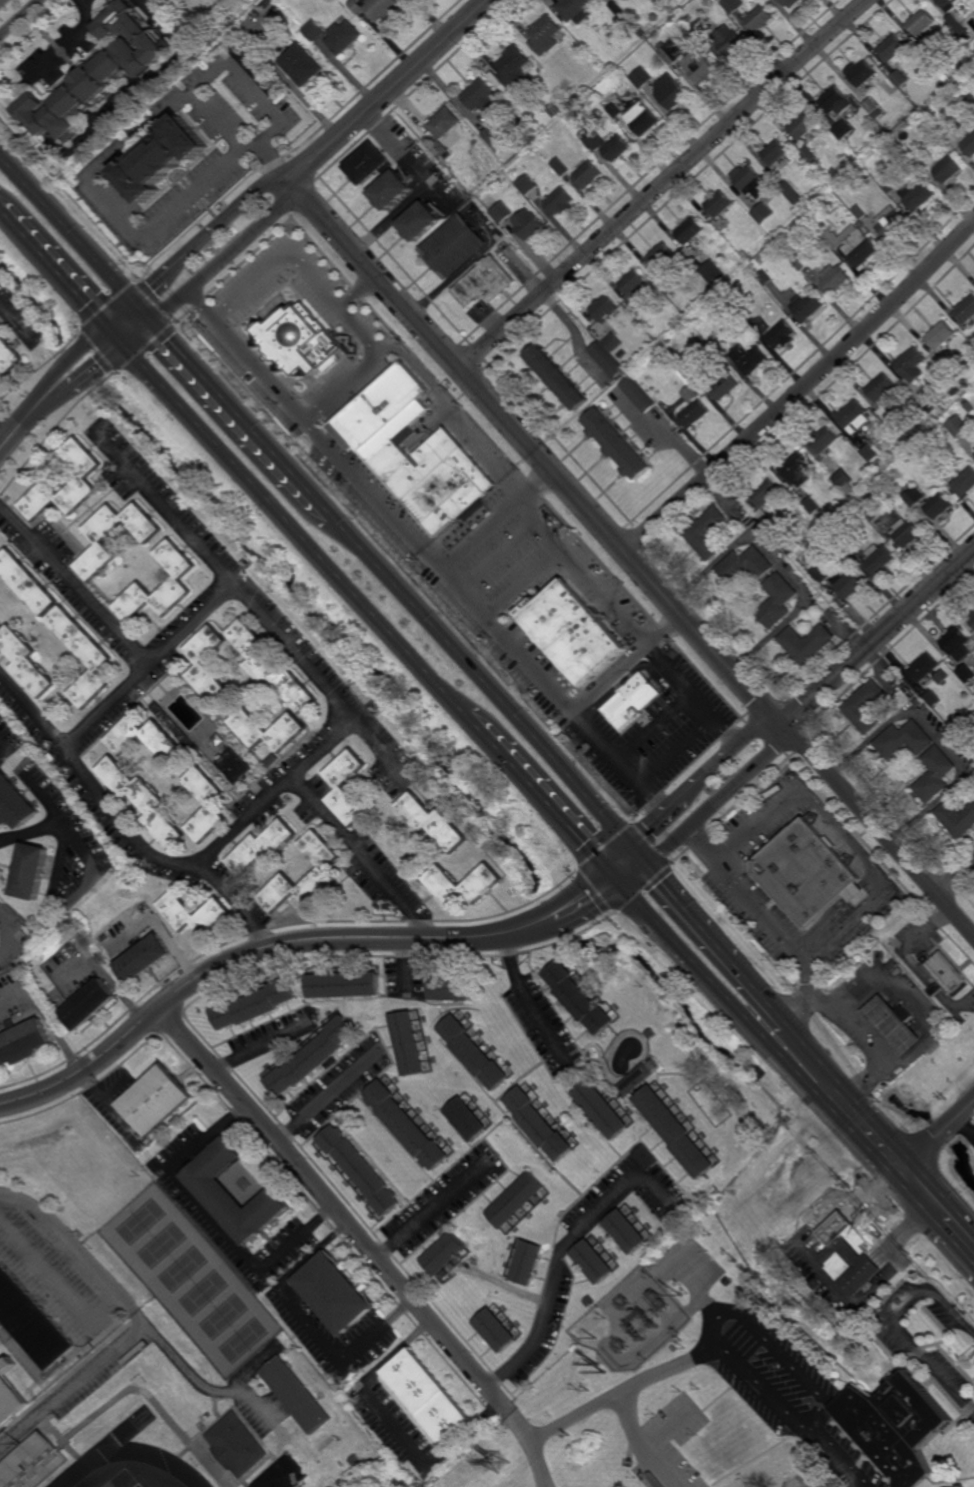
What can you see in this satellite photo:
road: (1, 1)
building: (790, 3)
building: (947, 4)
building: (732, 5)
building: (376, 7)
building: (617, 8)
building: (577, 10)
building: (654, 16)
road: (19, 17)
building: (760, 17)
building: (688, 19)
building: (920, 22)
building: (957, 28)
building: (699, 29)
building: (315, 30)
building: (641, 32)
building: (545, 35)
building: (345, 38)
building: (729, 41)
road: (72, 43)
building: (894, 49)
building: (933, 58)
building: (689, 61)
building: (304, 65)
building: (610, 66)
building: (514, 67)
building: (255, 69)
building: (99, 73)
building: (863, 73)
building: (641, 77)
building: (899, 78)
building: (972, 80)
road: (389, 88)
building: (671, 91)
building: (481, 96)
building: (575, 99)
road: (306, 101)
building: (837, 101)
building: (970, 101)
building: (570, 105)
building: (871, 105)
building: (613, 109)
building: (553, 110)
building: (642, 118)
road: (216, 122)
building: (804, 126)
building: (946, 126)
building: (442, 128)
building: (844, 130)
building: (497, 139)
building: (595, 142)
building: (968, 143)
road: (129, 144)
building: (616, 148)
building: (777, 153)
building: (810, 155)
building: (163, 158)
building: (369, 164)
building: (558, 166)
building: (948, 168)
building: (861, 170)
building: (587, 174)
building: (751, 181)
building: (875, 183)
road: (661, 184)
building: (526, 185)
road: (422, 186)
building: (889, 186)
building: (392, 190)
building: (793, 193)
building: (916, 195)
building: (559, 201)
building: (720, 204)
building: (501, 212)
building: (861, 212)
building: (764, 213)
building: (421, 222)
building: (892, 222)
building: (821, 224)
building: (530, 227)
road: (68, 228)
building: (689, 231)
road: (210, 233)
building: (835, 240)
building: (860, 246)
building: (454, 247)
road: (230, 254)
building: (662, 257)
building: (804, 261)
building: (713, 272)
road: (64, 276)
building: (766, 278)
building: (836, 279)
building: (486, 283)
building: (633, 283)
building: (668, 285)
traffic signals: (136, 302)
building: (809, 306)
building: (632, 307)
building: (604, 309)
building: (965, 310)
road: (145, 312)
road: (15, 318)
traffic signals: (155, 323)
traffic signals: (108, 325)
road: (141, 334)
building: (784, 335)
building: (941, 335)
building: (300, 341)
building: (613, 342)
building: (752, 343)
traffic signals: (128, 346)
building: (621, 353)
building: (8, 356)
building: (749, 357)
building: (605, 359)
building: (911, 361)
road: (68, 362)
building: (689, 371)
road: (421, 374)
building: (555, 377)
building: (965, 383)
building: (724, 385)
building: (882, 386)
road: (70, 389)
building: (955, 390)
road: (801, 391)
building: (689, 393)
building: (636, 394)
building: (931, 402)
building: (968, 407)
building: (693, 413)
building: (855, 416)
building: (958, 425)
road: (7, 426)
building: (905, 438)
building: (825, 439)
building: (616, 442)
road: (7, 444)
road: (534, 452)
building: (870, 452)
building: (444, 453)
building: (797, 469)
building: (88, 477)
building: (844, 478)
building: (965, 481)
building: (766, 492)
building: (912, 496)
building: (813, 505)
building: (938, 505)
building: (874, 510)
road: (495, 517)
building: (907, 531)
building: (706, 532)
building: (793, 537)
building: (105, 541)
building: (849, 545)
road: (499, 554)
building: (879, 558)
building: (746, 564)
road: (779, 565)
building: (822, 572)
building: (178, 579)
building: (32, 580)
road: (525, 583)
building: (848, 583)
road: (403, 593)
building: (776, 601)
road: (366, 606)
building: (972, 619)
road: (628, 621)
road: (186, 629)
building: (573, 635)
road: (877, 637)
building: (954, 641)
building: (805, 642)
road: (521, 653)
building: (962, 654)
building: (87, 655)
building: (28, 657)
road: (628, 664)
building: (205, 665)
building: (272, 666)
building: (922, 667)
building: (964, 673)
building: (940, 677)
road: (320, 681)
building: (933, 696)
building: (630, 704)
building: (863, 706)
road: (655, 726)
building: (292, 730)
building: (126, 736)
road: (71, 737)
building: (901, 739)
building: (968, 741)
road: (9, 750)
road: (678, 751)
building: (239, 765)
building: (932, 774)
road: (701, 778)
building: (344, 787)
road: (718, 798)
building: (145, 800)
building: (19, 803)
building: (213, 804)
building: (956, 818)
road: (241, 822)
building: (435, 823)
road: (335, 824)
road: (756, 824)
road: (61, 827)
road: (877, 829)
road: (30, 833)
traffic signals: (629, 845)
building: (265, 848)
road: (617, 855)
road: (159, 858)
traffic signals: (606, 866)
traffic signals: (648, 867)
building: (35, 872)
building: (326, 872)
building: (808, 874)
road: (881, 876)
road: (956, 878)
building: (483, 885)
traffic signals: (627, 889)
building: (856, 895)
road: (556, 898)
building: (197, 914)
road: (585, 916)
road: (11, 934)
building: (0, 941)
building: (145, 959)
road: (233, 960)
building: (944, 975)
building: (348, 987)
building: (454, 991)
road: (530, 999)
building: (581, 999)
building: (92, 1002)
road: (826, 1004)
building: (258, 1007)
road: (50, 1018)
building: (894, 1023)
gas station: (894, 1023)
road: (853, 1024)
building: (654, 1032)
building: (25, 1042)
building: (412, 1044)
road: (264, 1045)
road: (810, 1048)
building: (481, 1053)
building: (314, 1057)
road: (790, 1065)
road: (876, 1068)
building: (639, 1078)
road: (330, 1095)
building: (159, 1098)
building: (606, 1107)
building: (470, 1117)
building: (543, 1122)
building: (407, 1124)
building: (679, 1130)
road: (933, 1139)
building: (649, 1156)
building: (362, 1168)
building: (234, 1192)
building: (520, 1199)
road: (337, 1206)
road: (434, 1209)
road: (214, 1221)
building: (630, 1230)
road: (563, 1252)
building: (445, 1253)
building: (596, 1260)
building: (530, 1262)
building: (847, 1264)
road: (57, 1276)
park: (192, 1280)
building: (732, 1281)
building: (813, 1285)
building: (335, 1292)
building: (592, 1301)
building: (33, 1309)
road: (142, 1320)
power substation: (632, 1322)
road: (890, 1322)
road: (307, 1323)
building: (498, 1330)
road: (21, 1352)
road: (667, 1371)
road: (203, 1386)
building: (297, 1394)
building: (428, 1395)
building: (11, 1396)
road: (819, 1406)
road: (394, 1426)
building: (894, 1426)
road: (671, 1428)
road: (533, 1444)
building: (240, 1445)
road: (642, 1445)
track: (130, 1455)
road: (835, 1458)
power tower: (498, 1463)
building: (770, 1464)
building: (35, 1465)
park: (138, 1486)

